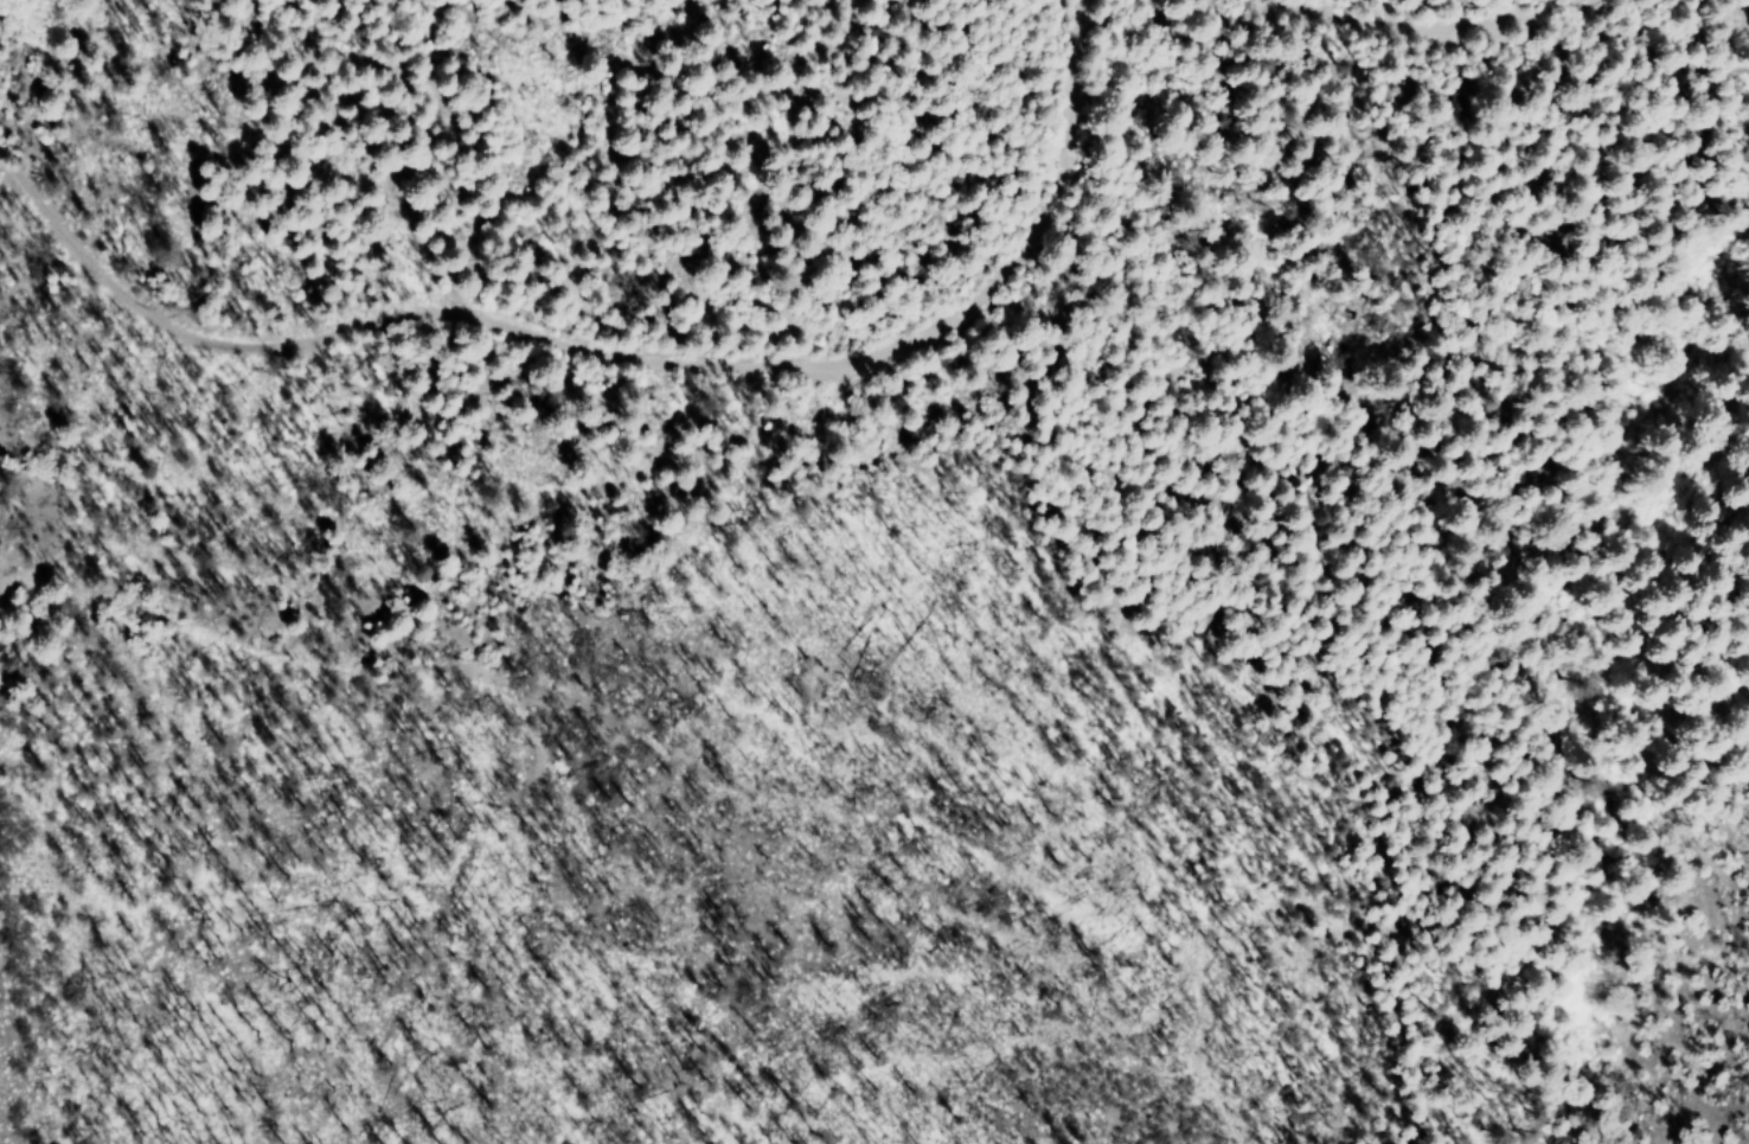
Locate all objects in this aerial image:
road: (1420, 43)
road: (711, 386)

